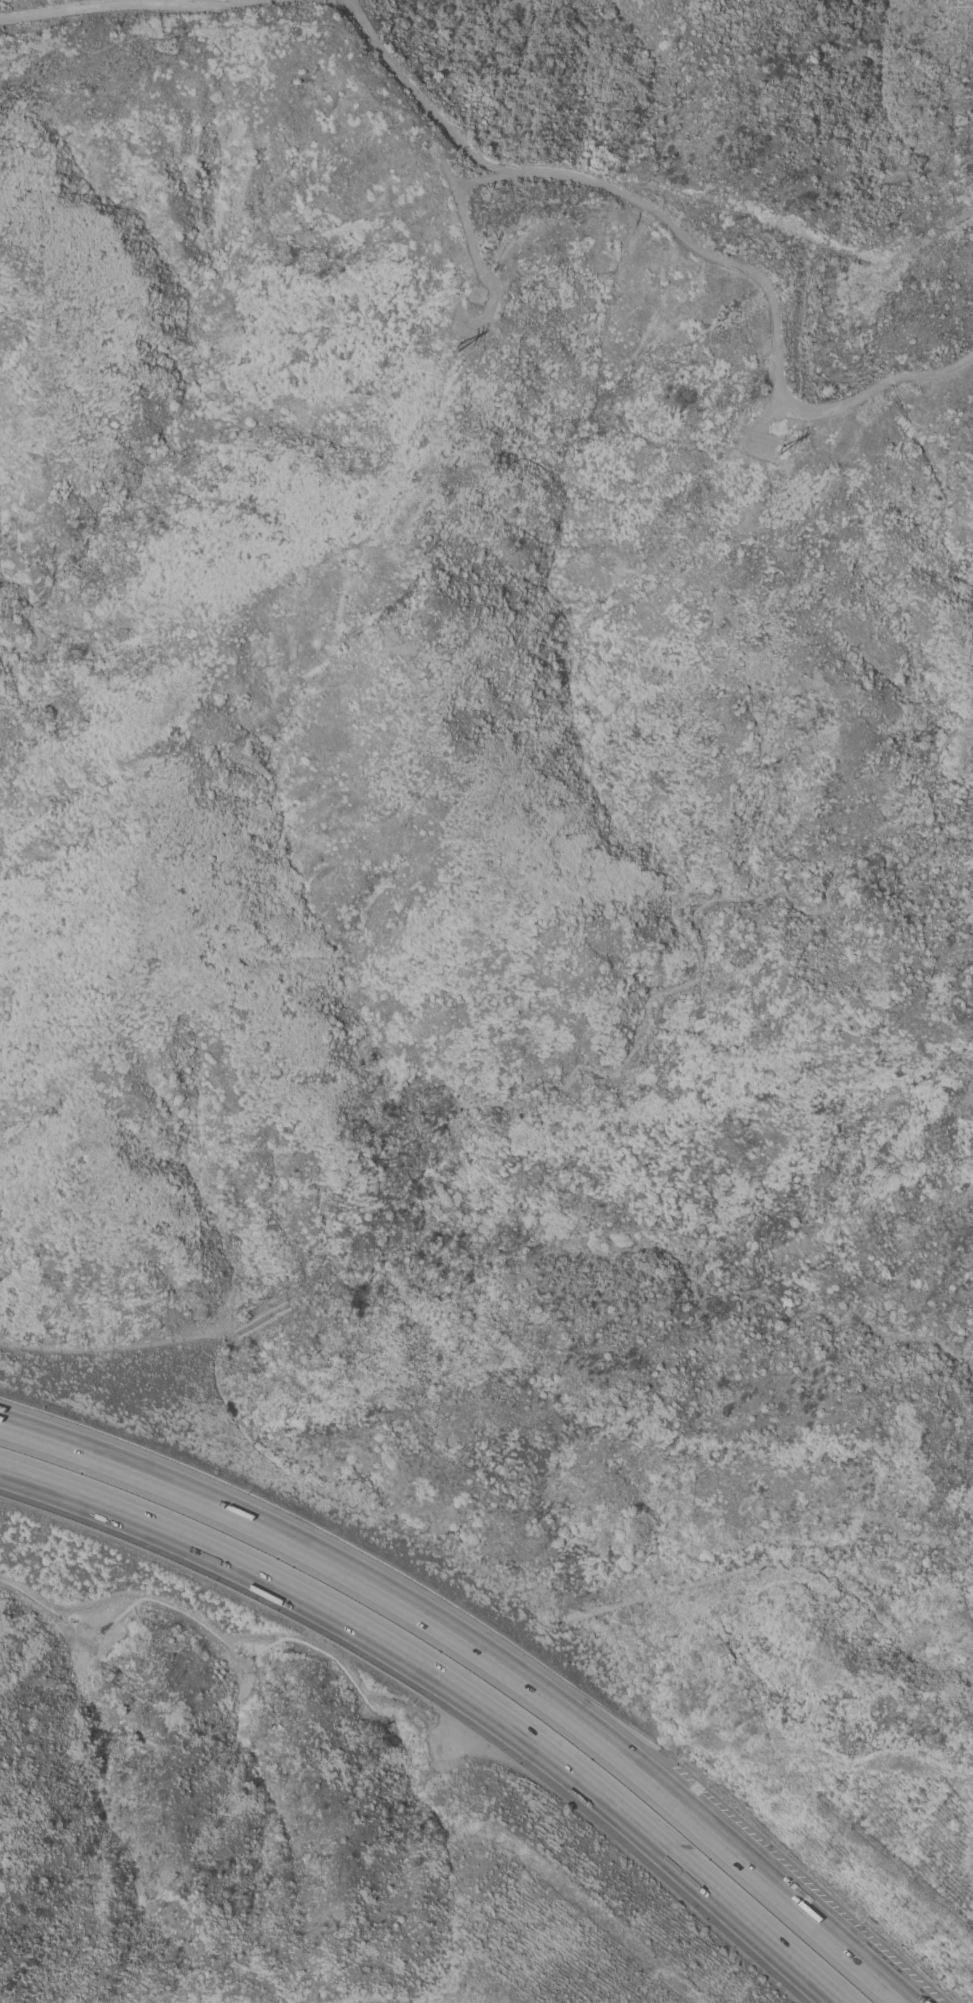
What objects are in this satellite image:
road: (124, 3)
road: (935, 19)
road: (245, 28)
road: (972, 77)
road: (967, 130)
road: (449, 177)
road: (796, 225)
road: (676, 233)
road: (468, 239)
road: (800, 326)
power tower: (459, 354)
road: (759, 426)
power tower: (784, 457)
road: (487, 1658)
road: (447, 1689)

